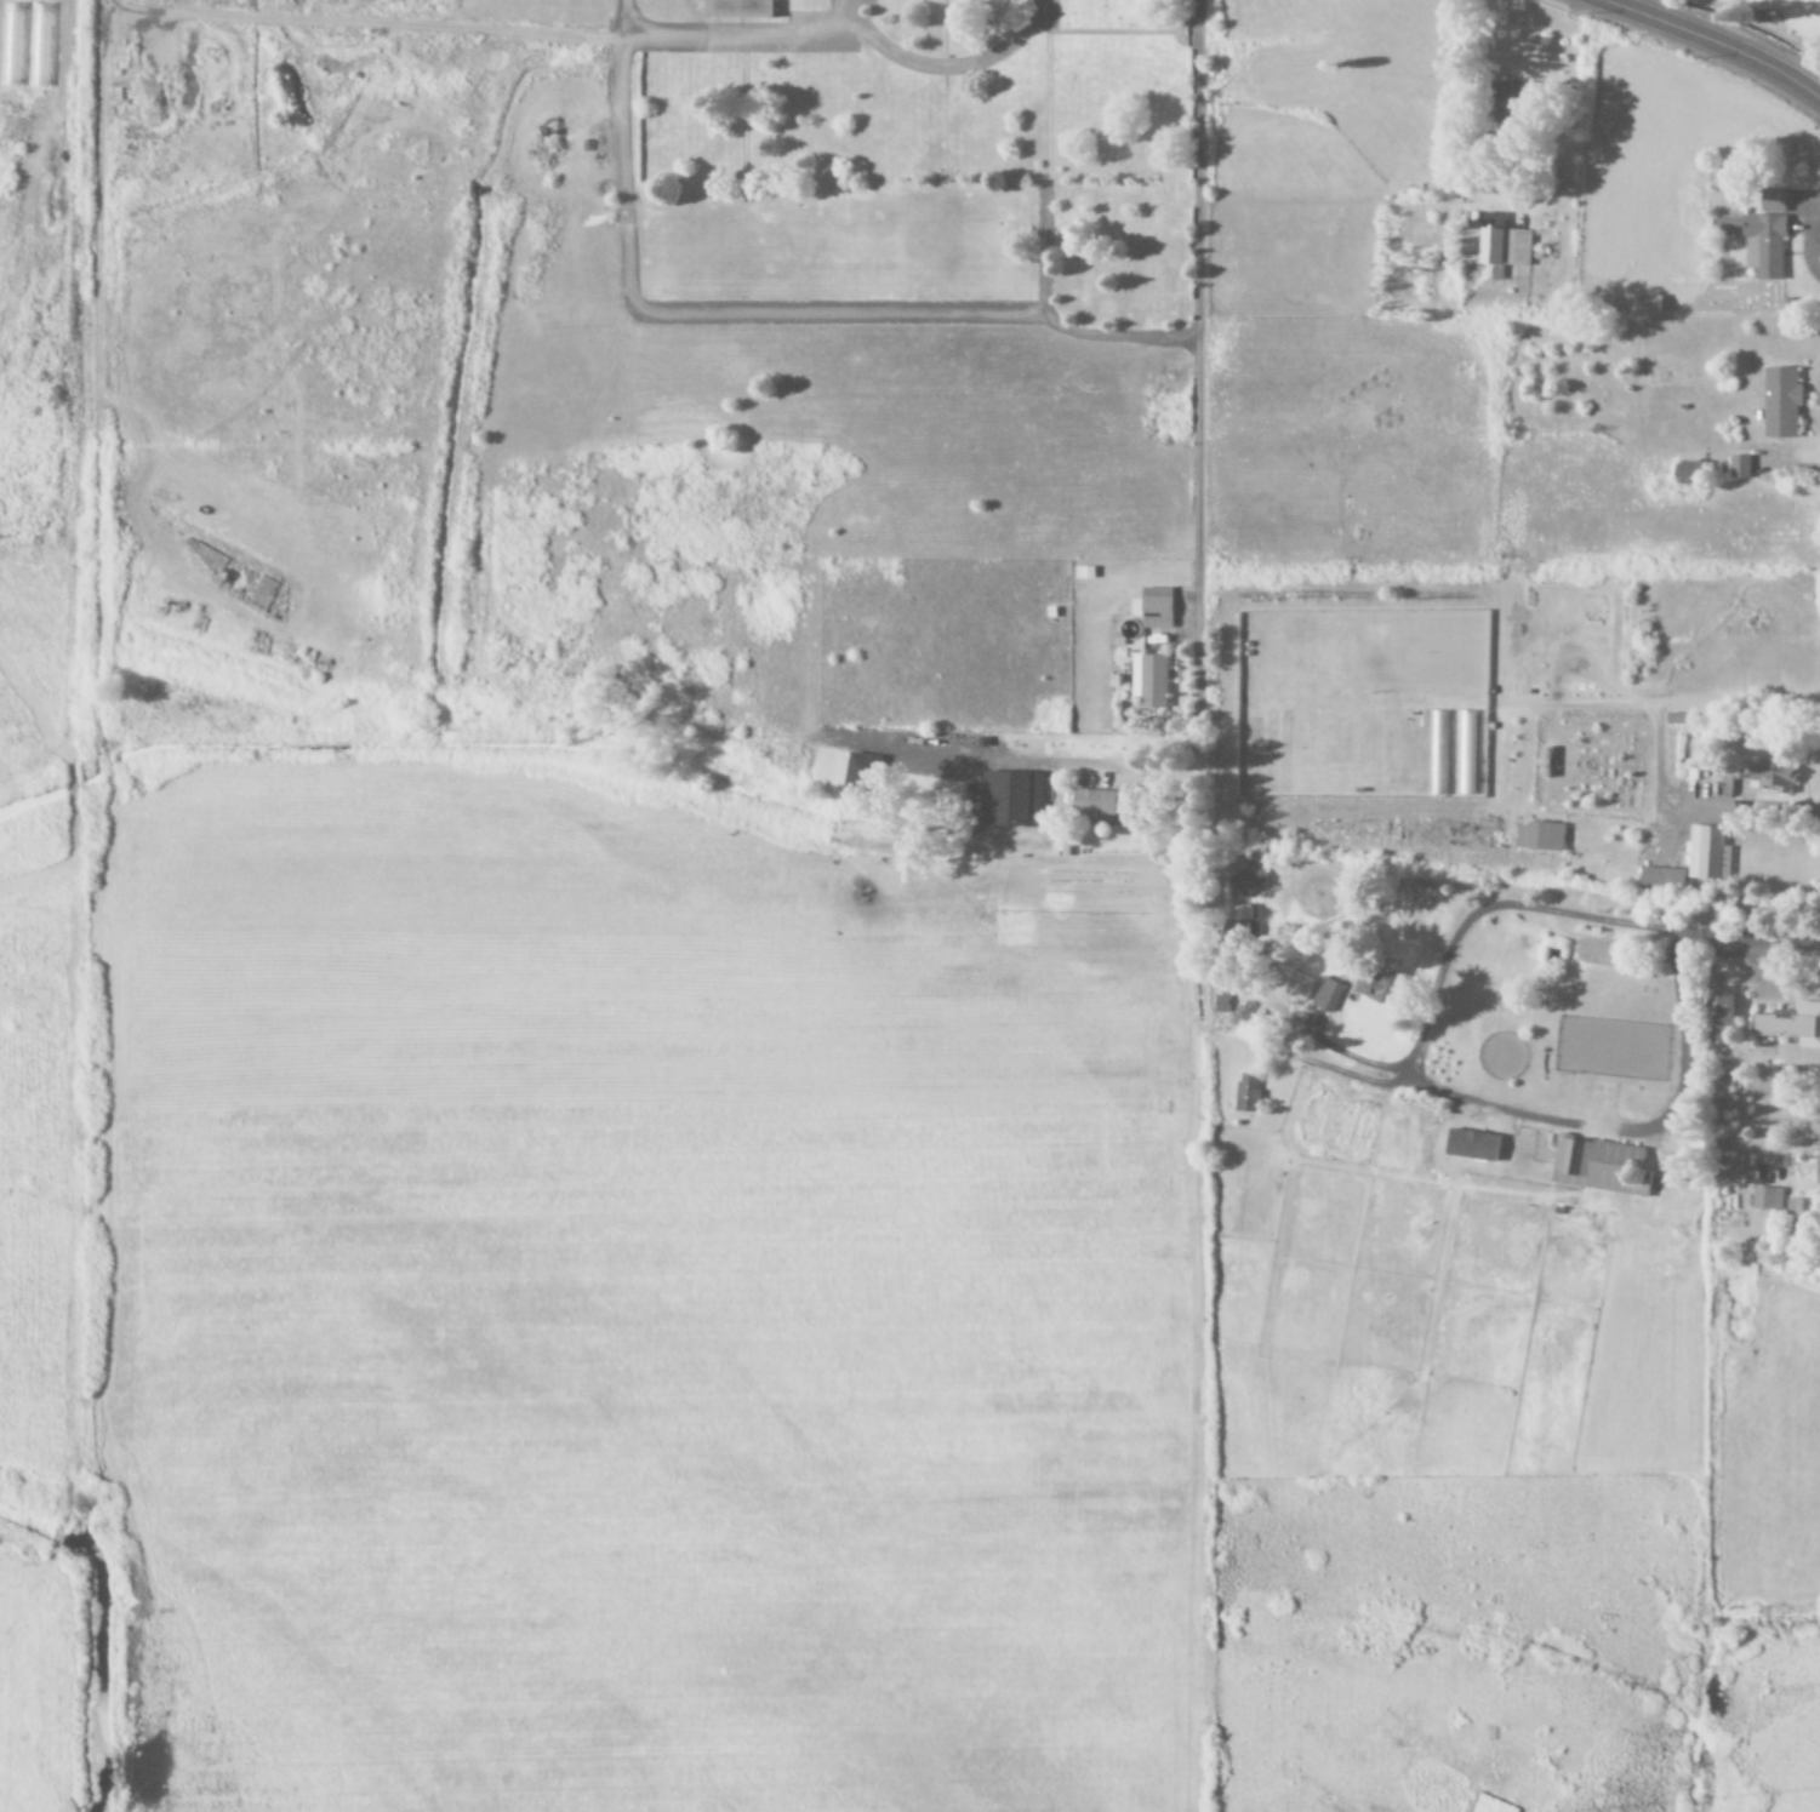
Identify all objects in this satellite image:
building: (775, 0)
building: (736, 10)
road: (737, 42)
road: (1716, 42)
road: (943, 72)
building: (295, 101)
park: (951, 126)
building: (1764, 238)
building: (1493, 244)
building: (1647, 305)
road: (678, 310)
road: (1114, 331)
road: (1198, 364)
building: (1779, 401)
building: (1738, 465)
building: (1152, 607)
building: (1147, 679)
building: (1437, 753)
building: (1768, 777)
building: (1009, 798)
building: (1706, 853)
building: (1246, 879)
building: (1660, 879)
building: (1374, 985)
building: (1297, 987)
building: (1325, 995)
building: (1718, 1019)
building: (1790, 1024)
building: (1244, 1092)
building: (1718, 1107)
building: (1456, 1144)
building: (1598, 1166)
building: (1816, 1173)
building: (1765, 1199)
crop: (544, 1241)

